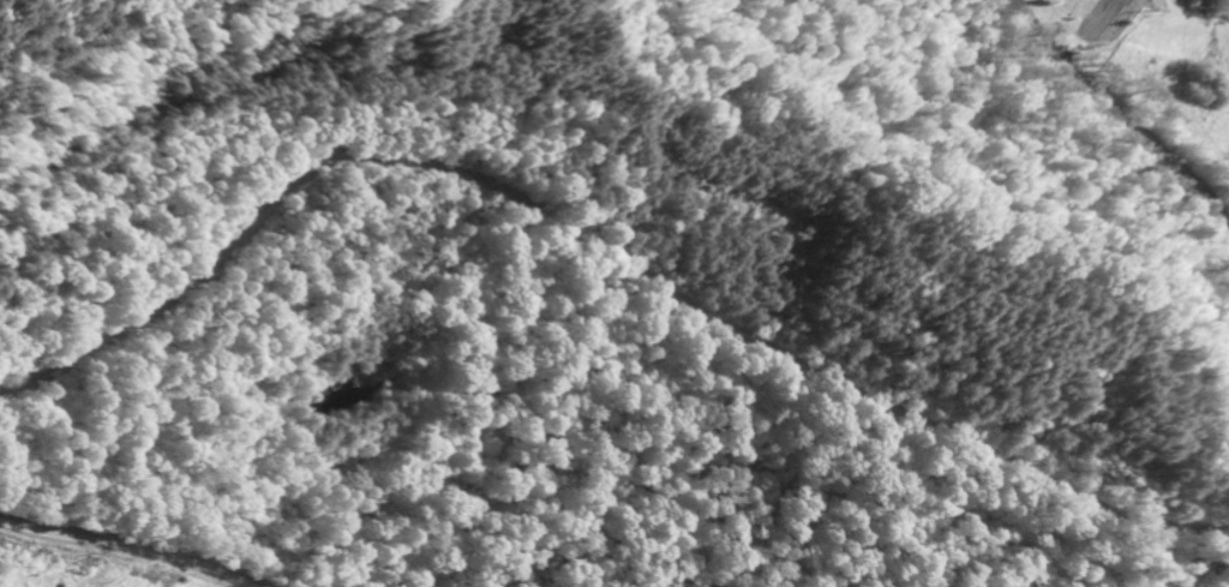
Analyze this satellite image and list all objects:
road: (1123, 133)
road: (606, 246)
road: (128, 549)

